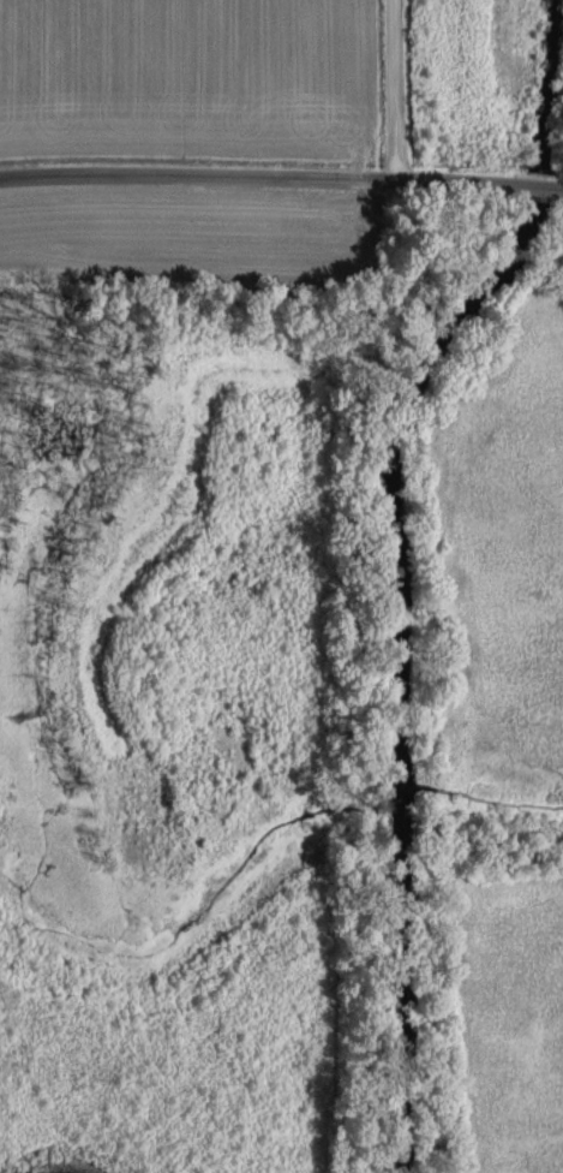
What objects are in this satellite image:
road: (385, 88)
road: (281, 173)

